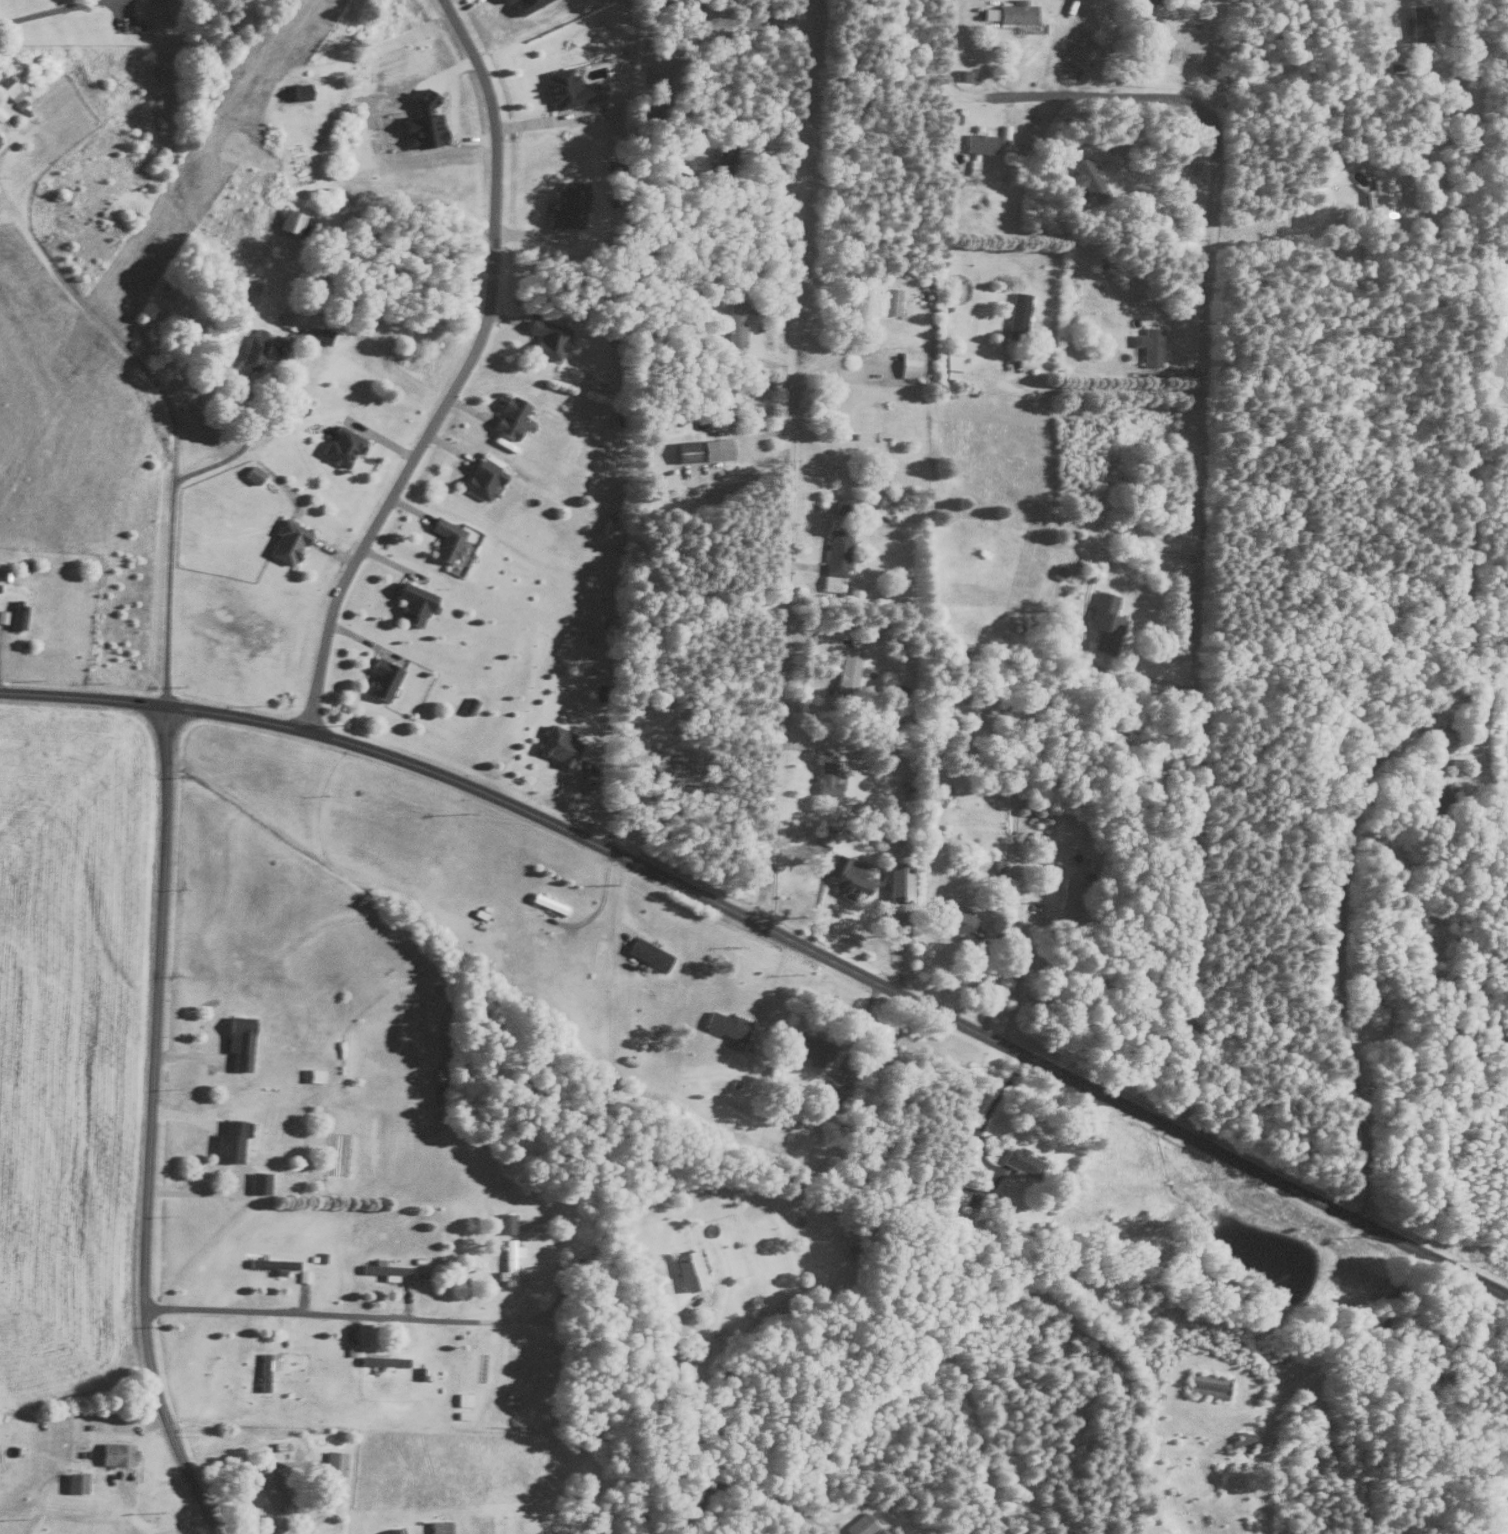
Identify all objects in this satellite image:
building: (502, 0)
building: (1149, 0)
building: (524, 4)
road: (47, 11)
building: (1015, 11)
building: (987, 12)
building: (1419, 21)
building: (1077, 52)
building: (1156, 52)
building: (963, 73)
building: (9, 85)
building: (568, 87)
building: (297, 92)
building: (421, 97)
road: (548, 119)
building: (422, 128)
building: (978, 142)
road: (1131, 174)
building: (1083, 178)
building: (1383, 194)
building: (567, 204)
building: (288, 219)
building: (887, 300)
building: (1016, 311)
building: (733, 322)
building: (322, 334)
building: (545, 338)
building: (1150, 345)
building: (251, 348)
building: (908, 363)
road: (460, 375)
road: (1107, 387)
building: (720, 400)
building: (507, 416)
road: (172, 419)
road: (243, 441)
building: (340, 444)
road: (1199, 447)
building: (701, 449)
road: (786, 463)
building: (251, 473)
building: (478, 478)
building: (445, 538)
building: (286, 540)
building: (834, 552)
building: (411, 602)
road: (1081, 612)
building: (3, 615)
building: (15, 615)
building: (1102, 621)
road: (1467, 634)
building: (845, 670)
building: (380, 678)
road: (83, 698)
building: (467, 705)
building: (557, 744)
building: (823, 777)
building: (1435, 791)
building: (825, 837)
building: (846, 874)
road: (820, 876)
building: (897, 882)
road: (1019, 895)
building: (1068, 896)
building: (546, 902)
building: (956, 918)
building: (646, 953)
road: (848, 968)
road: (987, 986)
building: (724, 1025)
building: (236, 1041)
building: (809, 1048)
building: (310, 1074)
building: (831, 1087)
road: (149, 1127)
building: (228, 1141)
building: (1019, 1160)
building: (257, 1182)
building: (504, 1222)
building: (507, 1261)
building: (271, 1263)
building: (381, 1268)
building: (687, 1270)
road: (555, 1297)
road: (309, 1315)
building: (351, 1349)
building: (381, 1360)
building: (264, 1370)
building: (1205, 1385)
building: (461, 1399)
building: (463, 1414)
road: (616, 1415)
building: (1241, 1441)
building: (115, 1453)
building: (333, 1463)
road: (736, 1478)
building: (75, 1482)
building: (268, 1487)
power substation: (1505, 1506)
road: (174, 1525)
building: (859, 1525)
building: (439, 1527)
building: (390, 1531)
building: (874, 1531)

